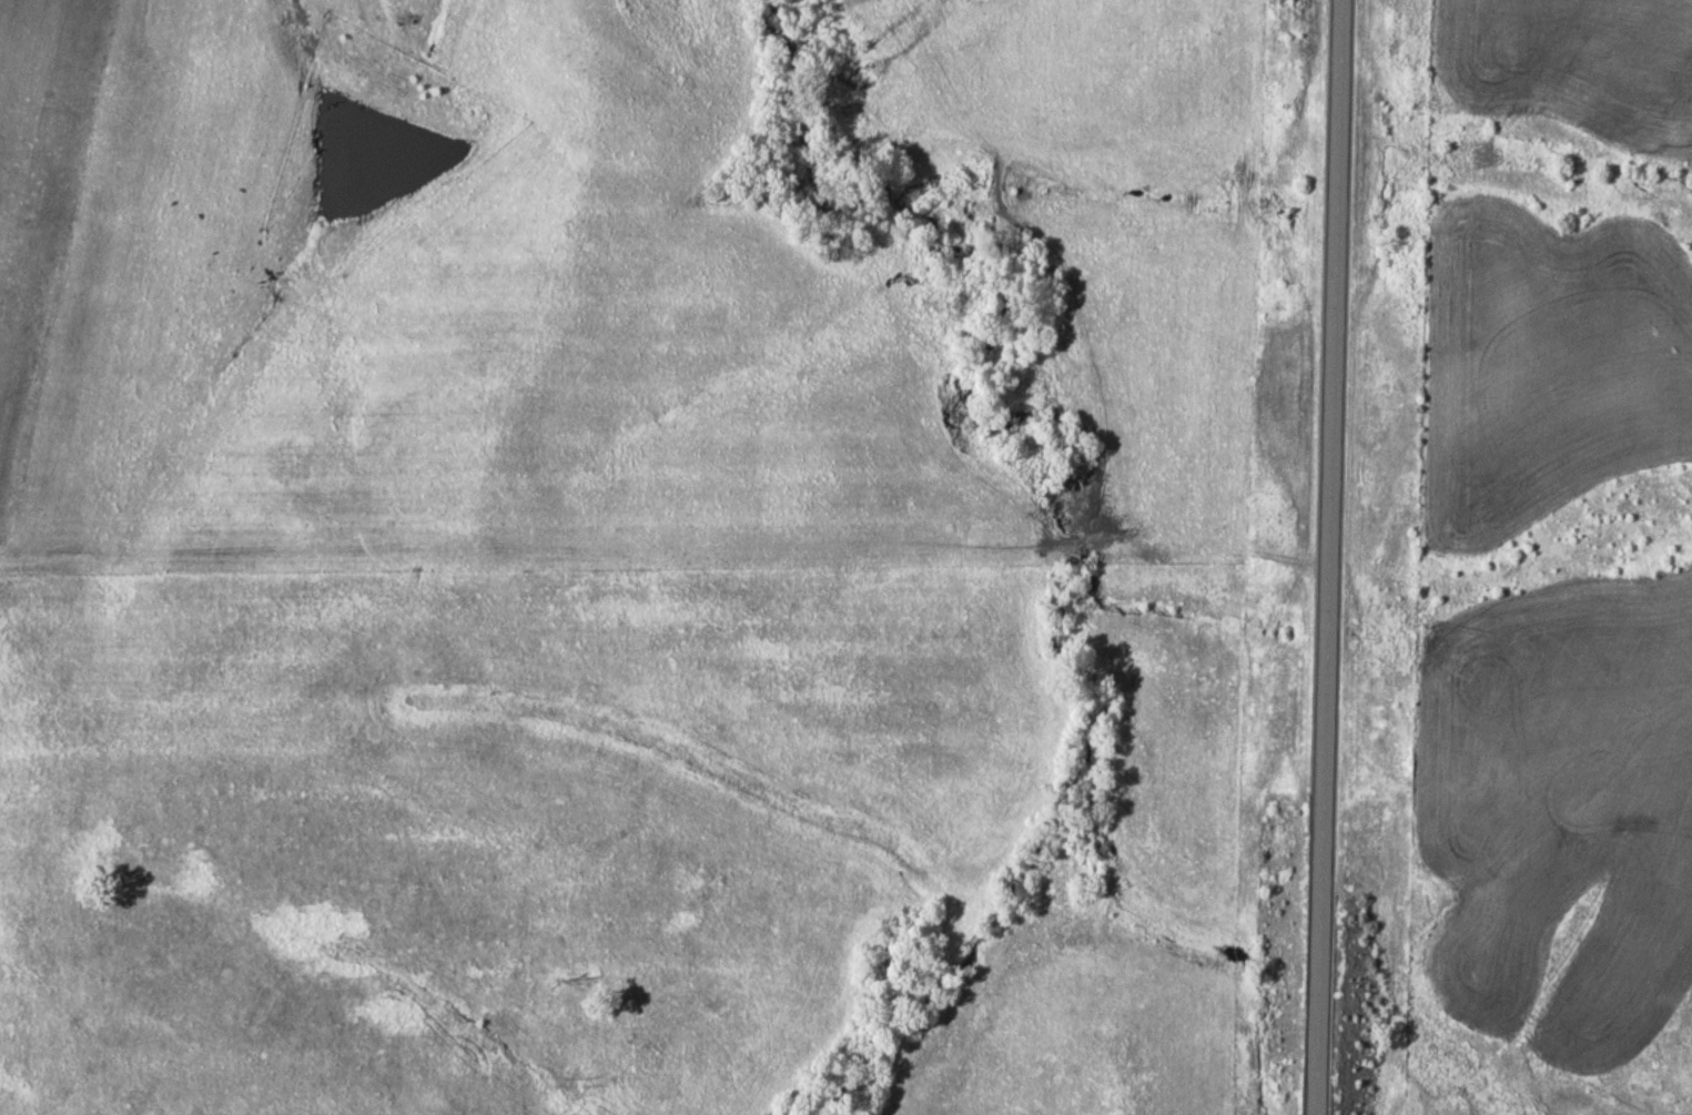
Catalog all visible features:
road: (1329, 557)

